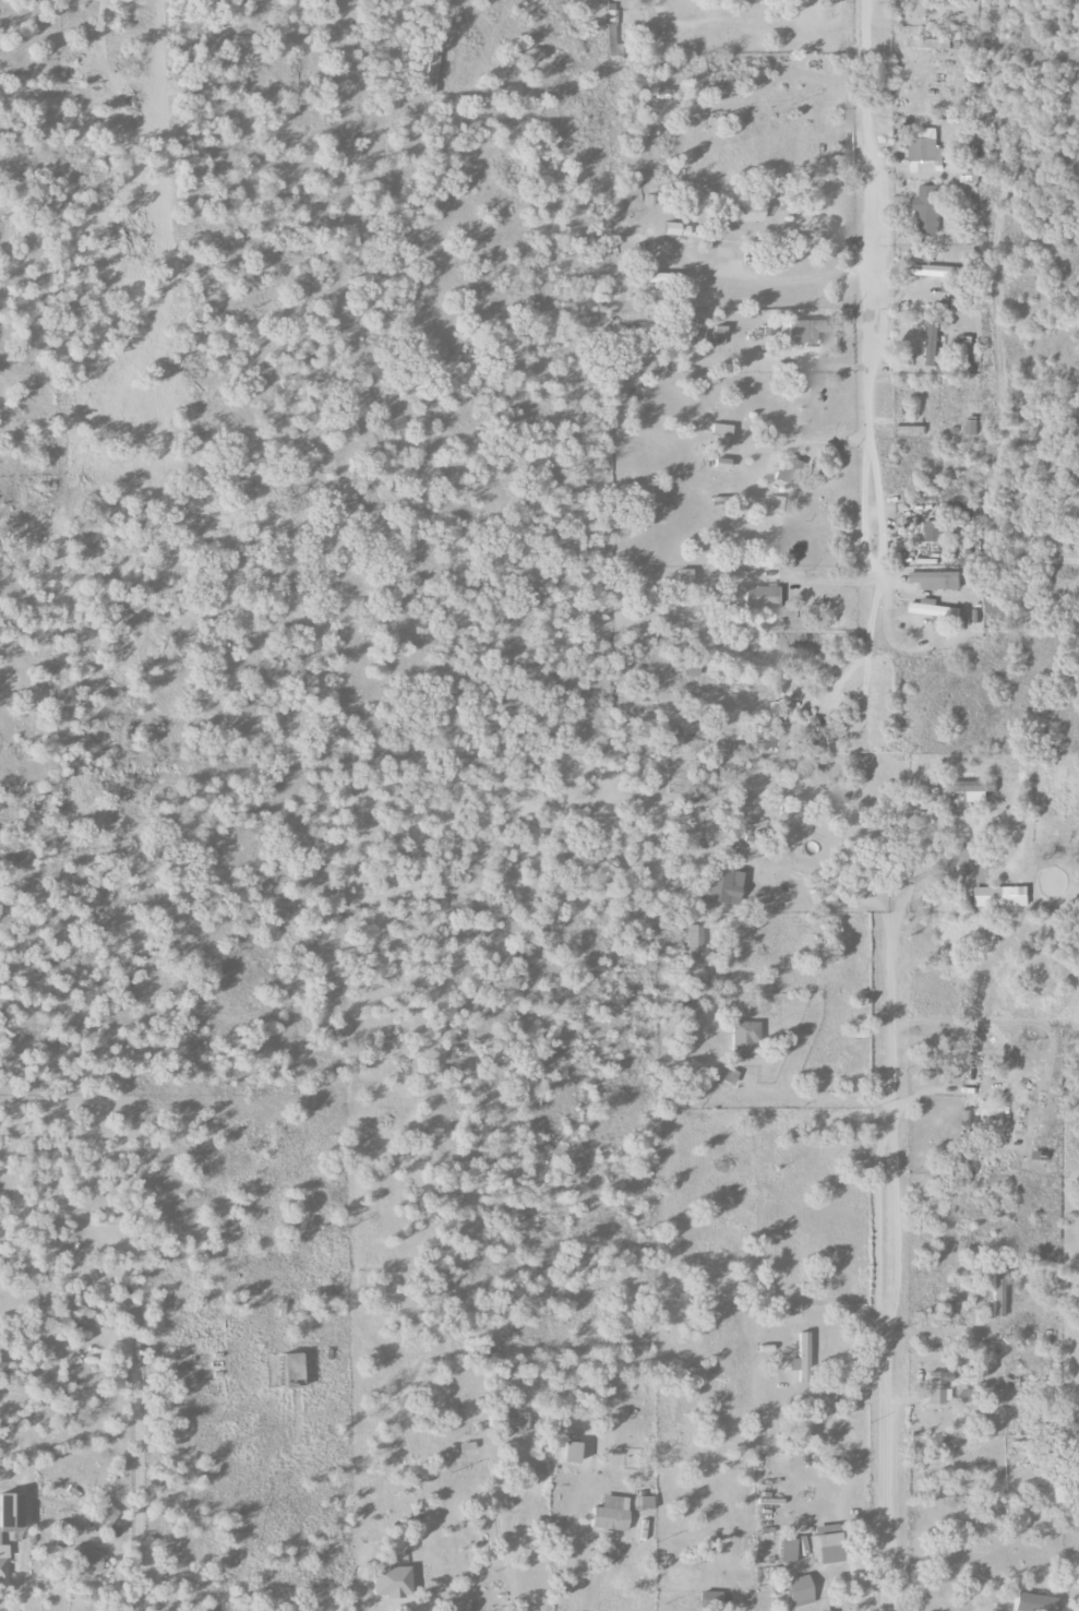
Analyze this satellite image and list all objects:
road: (687, 17)
building: (611, 24)
building: (936, 44)
building: (970, 63)
building: (663, 94)
building: (926, 152)
building: (930, 208)
building: (744, 212)
building: (675, 229)
building: (936, 268)
road: (805, 277)
road: (877, 293)
building: (955, 302)
building: (719, 331)
building: (805, 331)
road: (837, 334)
building: (935, 341)
building: (967, 342)
building: (973, 428)
building: (912, 430)
building: (721, 434)
building: (721, 464)
building: (790, 470)
building: (776, 505)
building: (934, 530)
building: (684, 577)
building: (938, 580)
building: (764, 598)
building: (937, 610)
road: (861, 692)
building: (720, 711)
building: (776, 720)
building: (976, 788)
building: (928, 816)
road: (922, 876)
building: (724, 885)
building: (1004, 896)
building: (694, 944)
road: (889, 947)
building: (744, 1038)
building: (730, 1076)
road: (813, 1096)
building: (966, 1131)
building: (998, 1292)
building: (71, 1315)
building: (802, 1359)
building: (293, 1371)
road: (887, 1383)
building: (938, 1387)
building: (967, 1395)
building: (506, 1422)
building: (466, 1447)
building: (572, 1453)
road: (133, 1471)
building: (646, 1503)
building: (14, 1513)
building: (105, 1514)
building: (611, 1514)
road: (496, 1523)
building: (65, 1527)
building: (826, 1544)
building: (787, 1551)
building: (86, 1560)
building: (3, 1564)
road: (111, 1578)
building: (392, 1580)
road: (591, 1585)
road: (841, 1587)
building: (800, 1591)
building: (709, 1599)
road: (15, 1600)
building: (1032, 1602)
building: (500, 1609)
road: (434, 1610)

